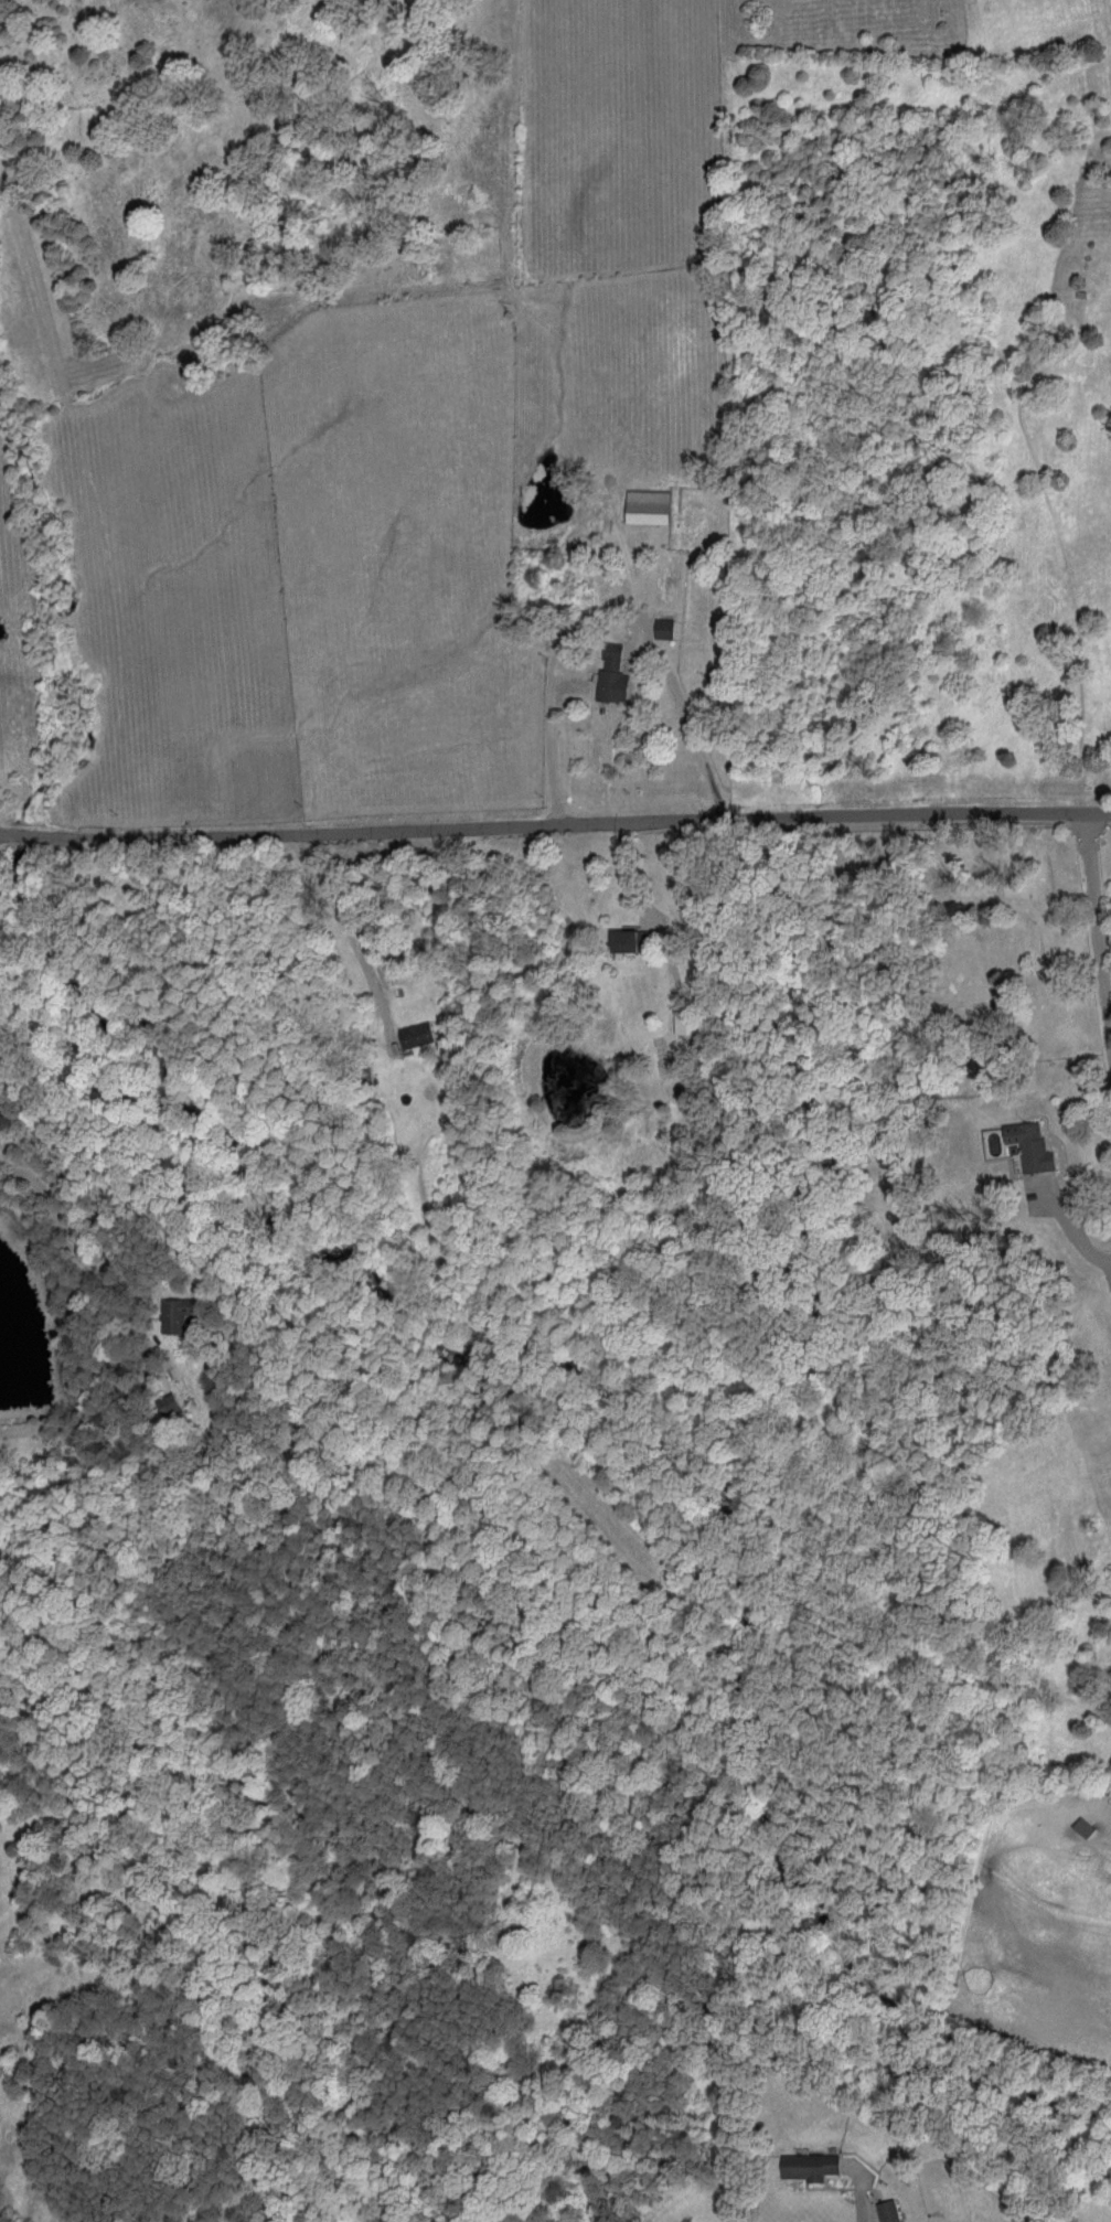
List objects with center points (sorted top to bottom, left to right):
building: (648, 506)
building: (664, 628)
building: (611, 674)
road: (688, 719)
road: (553, 735)
road: (555, 823)
building: (629, 941)
road: (1108, 951)
building: (685, 1022)
building: (415, 1034)
building: (1029, 1144)
road: (1065, 1218)
building: (175, 1312)
building: (167, 1403)
building: (1082, 1826)
building: (809, 2165)
road: (863, 2205)
building: (887, 2211)

